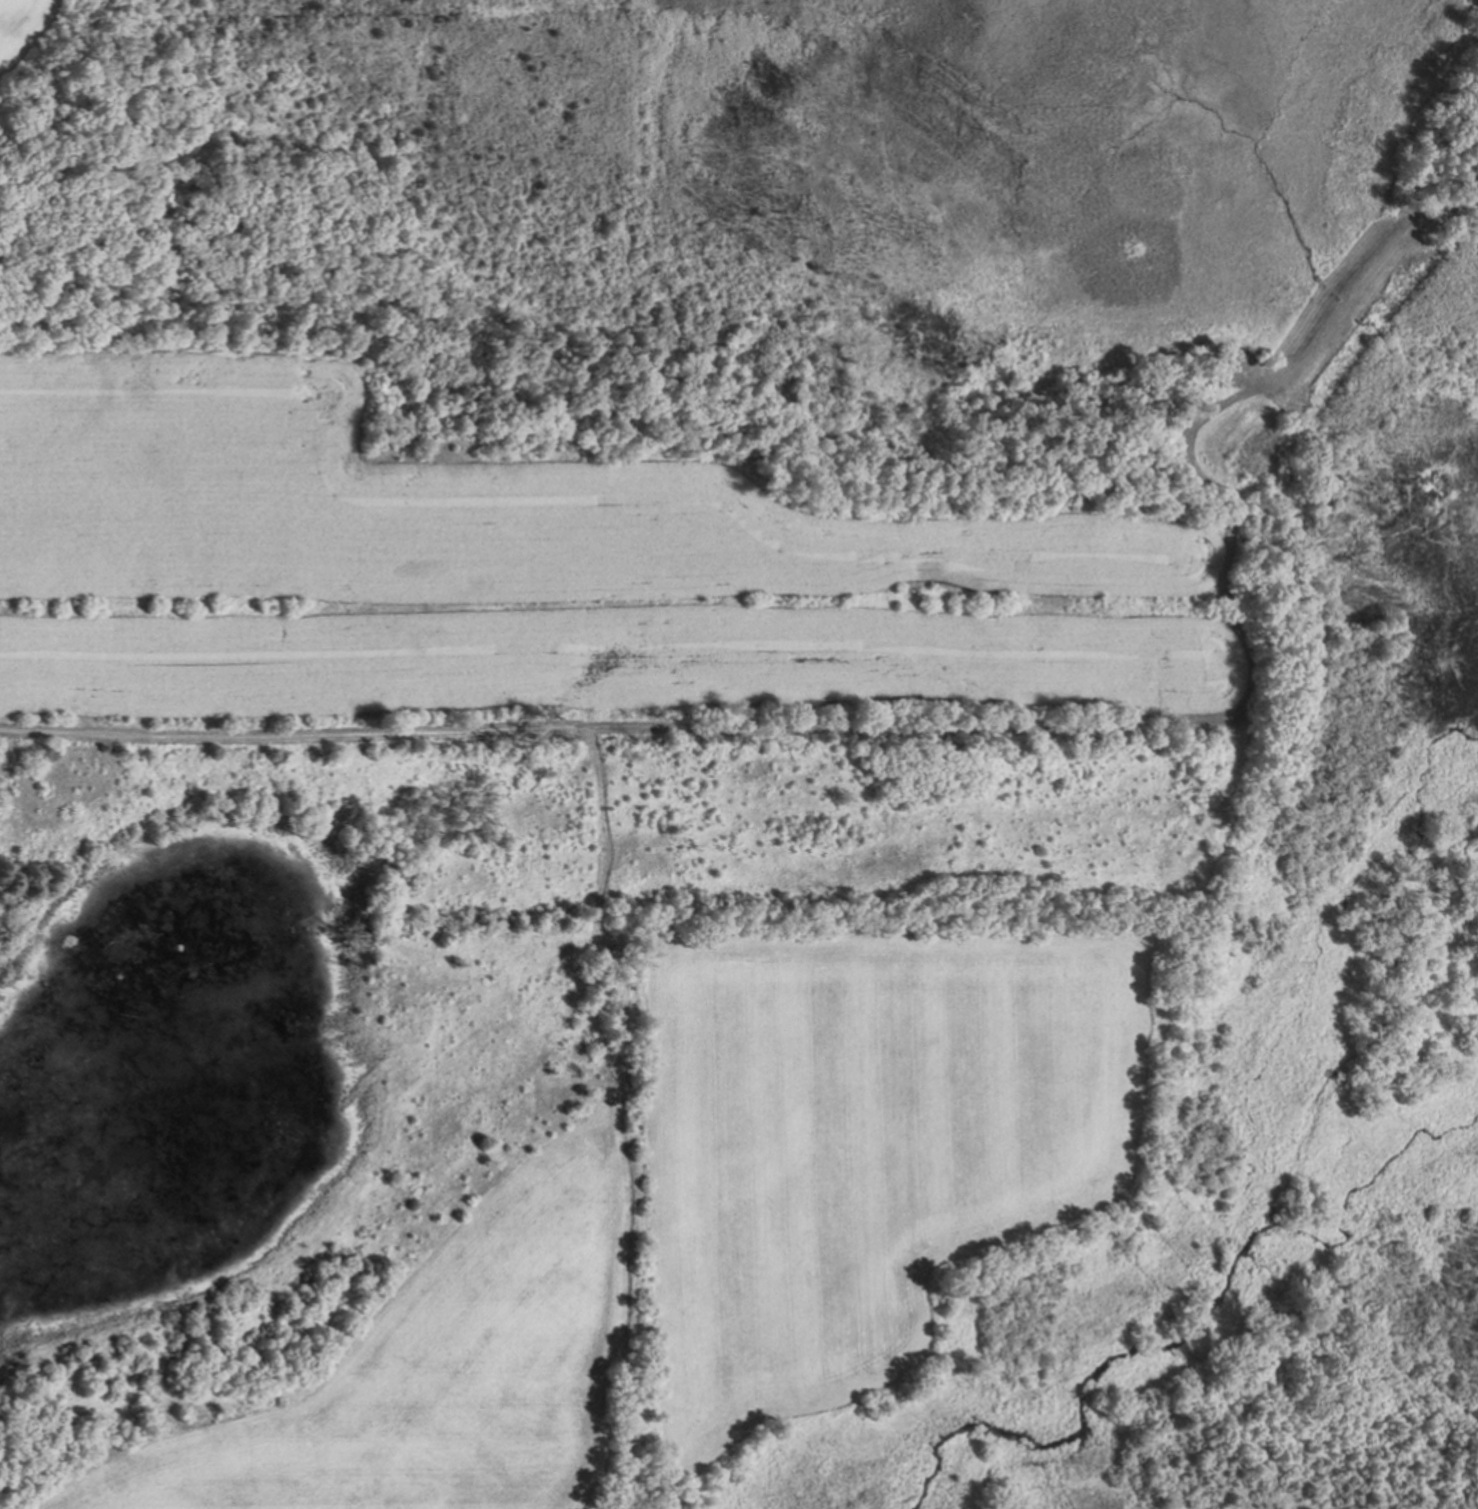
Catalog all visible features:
road: (609, 723)

